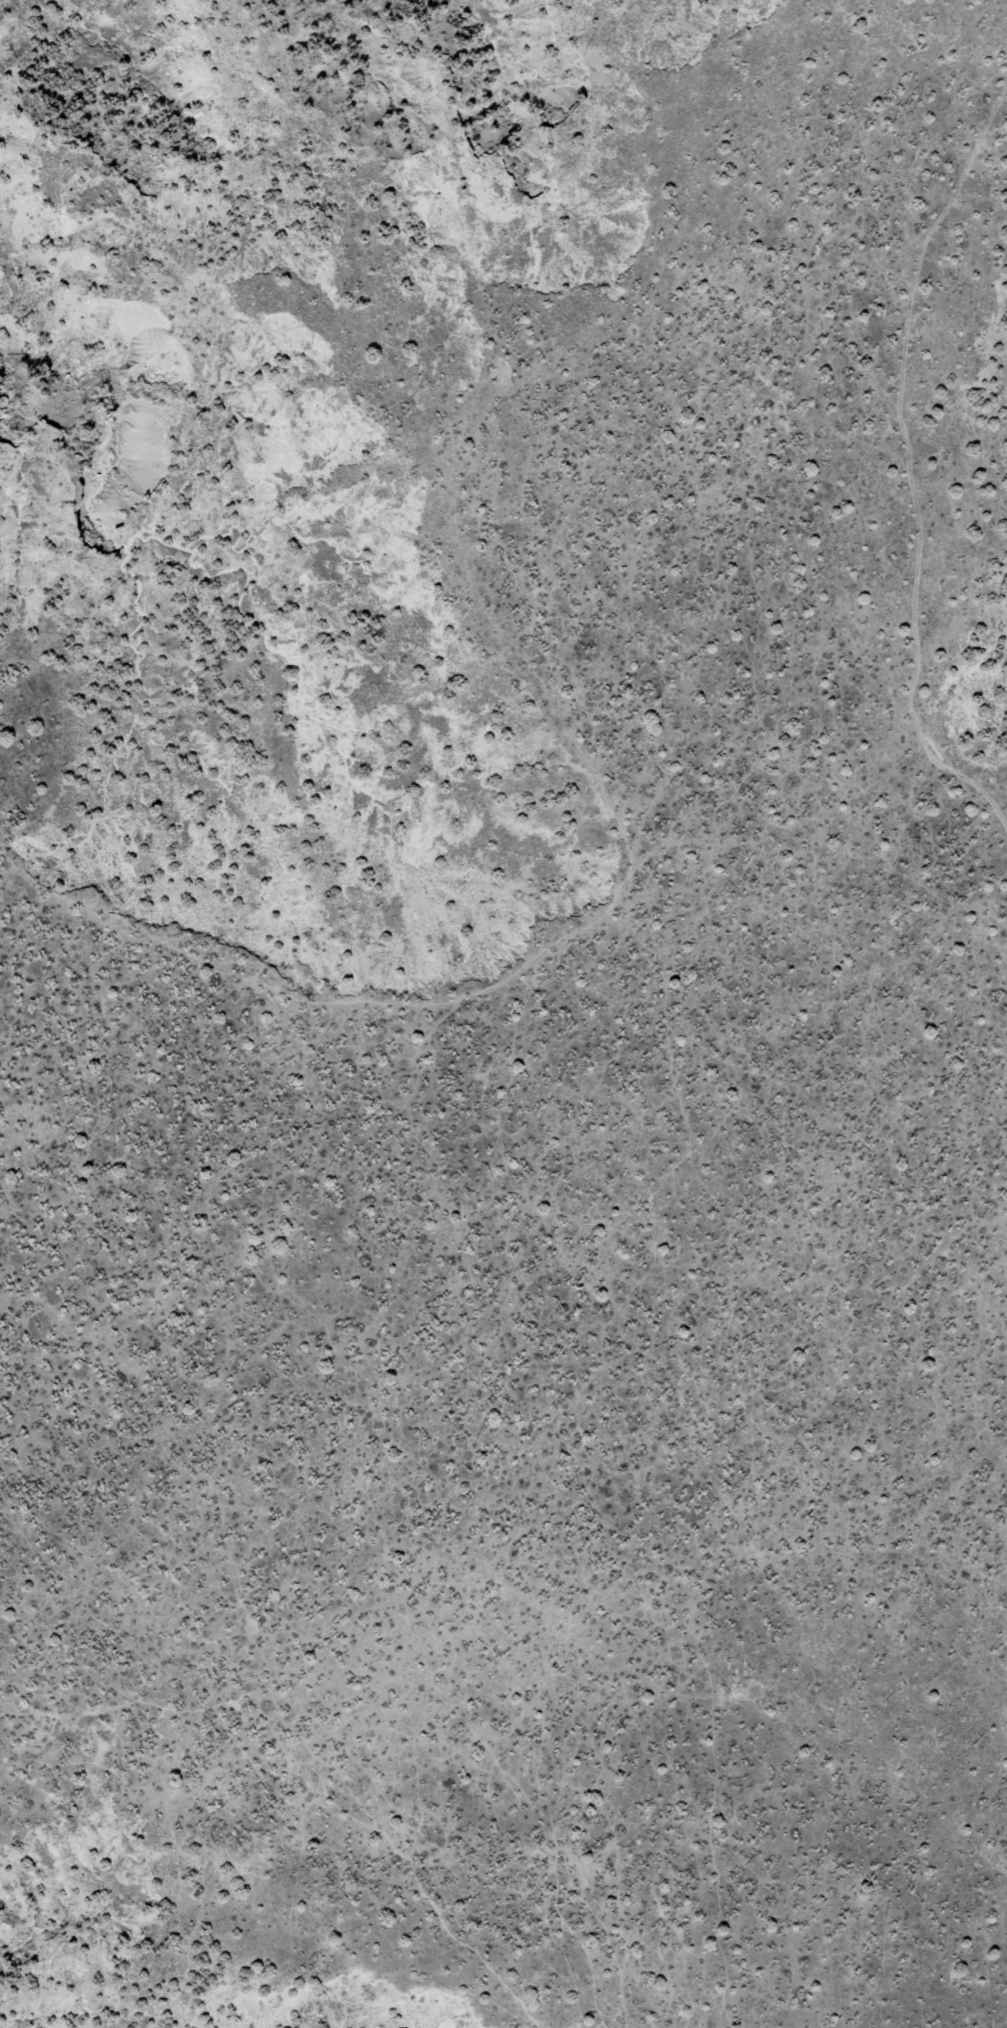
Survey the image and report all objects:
road: (912, 430)
road: (532, 1617)

